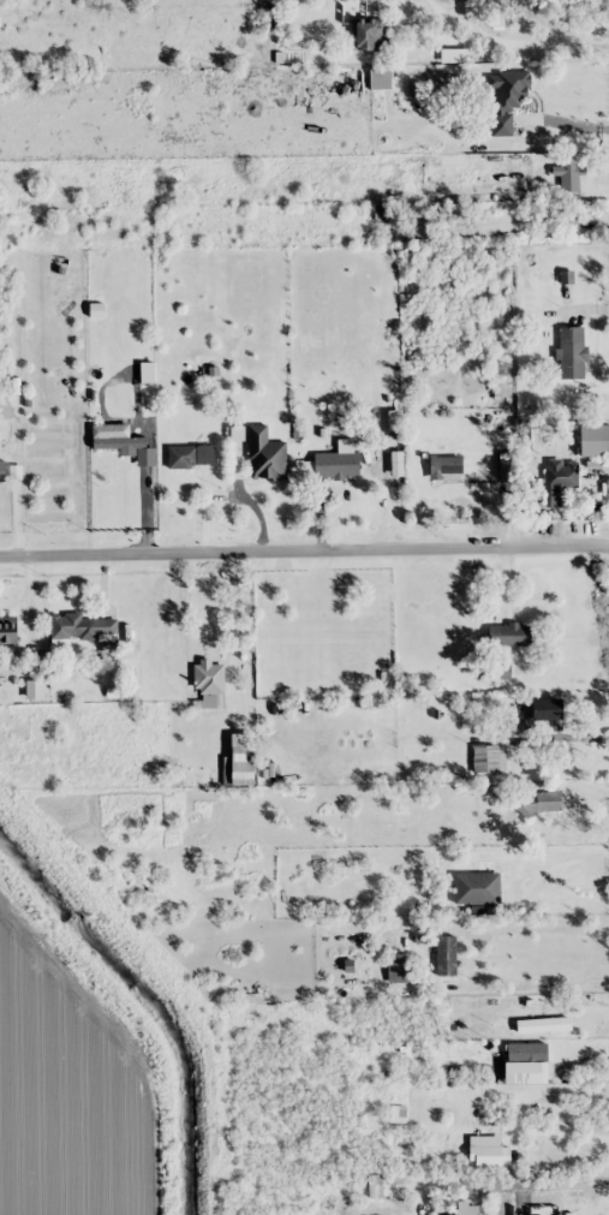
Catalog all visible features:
building: (369, 34)
building: (381, 79)
building: (507, 100)
building: (572, 352)
building: (595, 440)
building: (267, 455)
building: (183, 457)
building: (336, 465)
building: (447, 467)
building: (560, 477)
road: (304, 548)
building: (82, 627)
building: (8, 631)
building: (508, 635)
building: (209, 678)
building: (548, 710)
building: (489, 758)
building: (243, 761)
building: (548, 802)
building: (339, 893)
building: (447, 955)
building: (402, 971)
building: (544, 1024)
building: (398, 1114)
road: (512, 1118)
building: (489, 1151)
road: (532, 1186)
building: (456, 1209)

